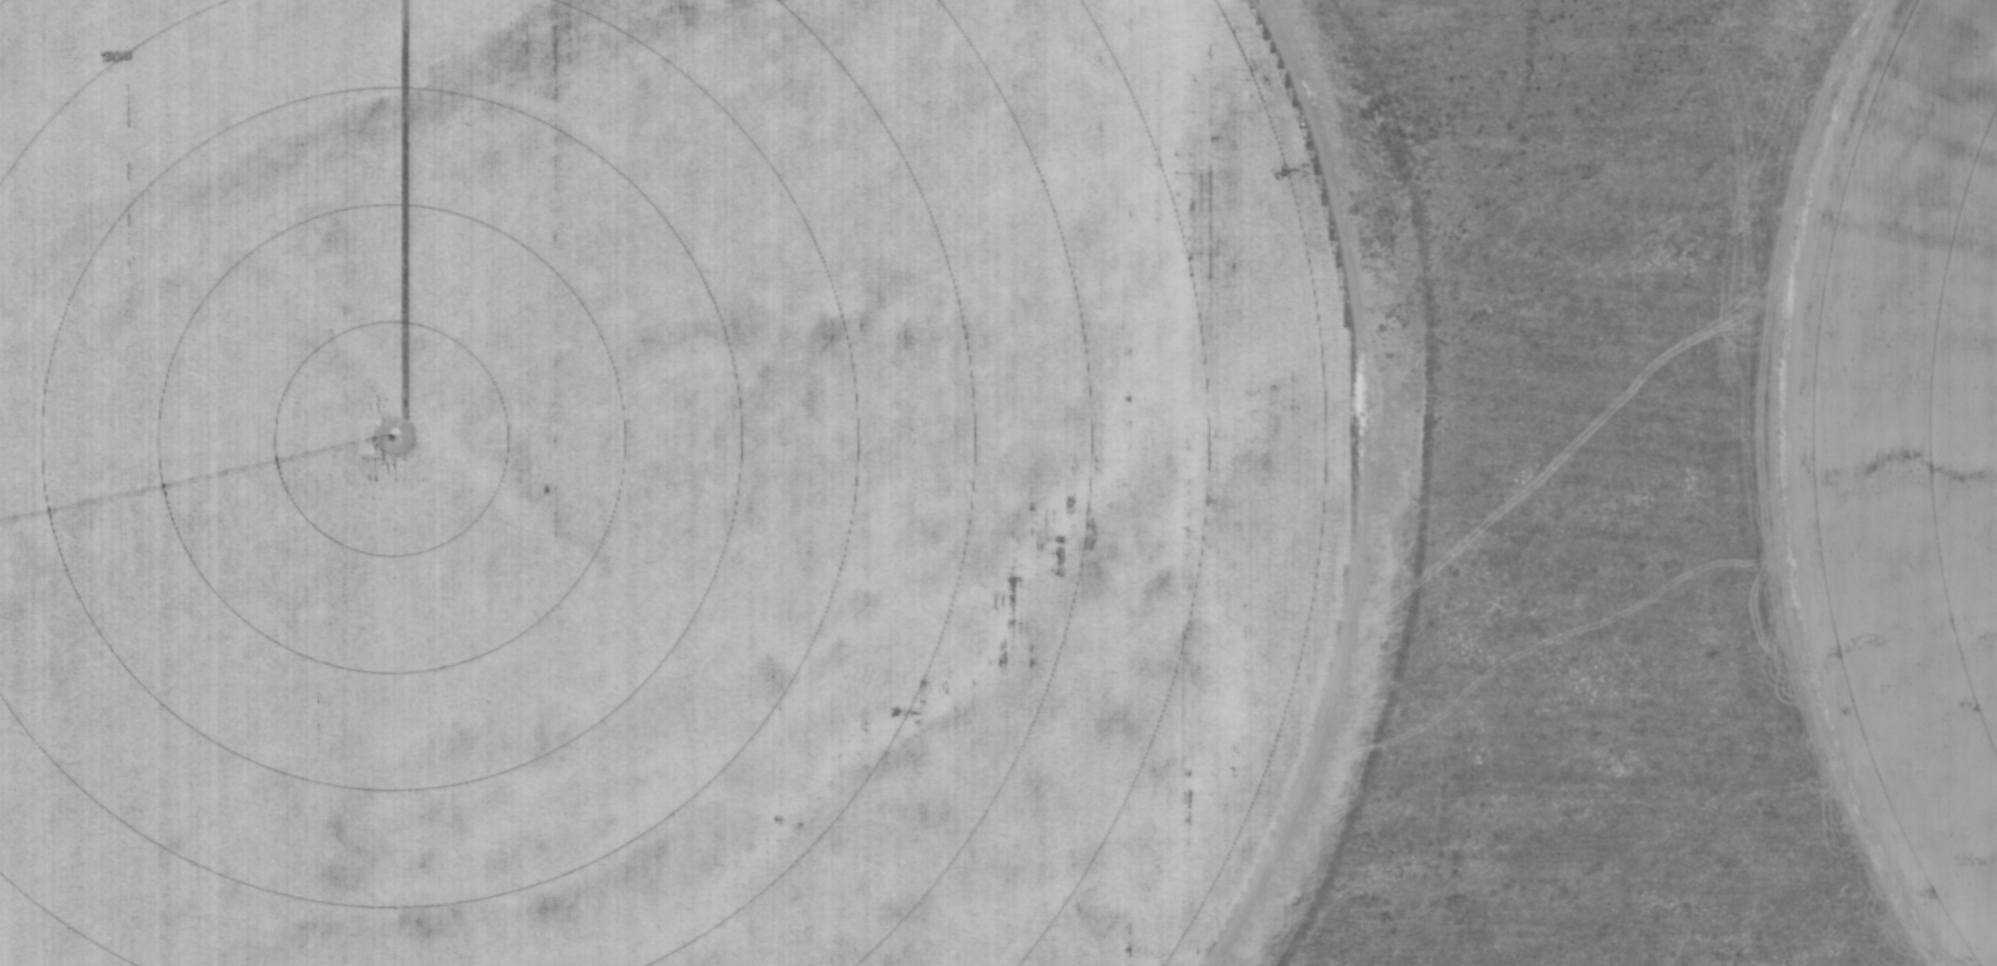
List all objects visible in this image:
crop: (1927, 467)

